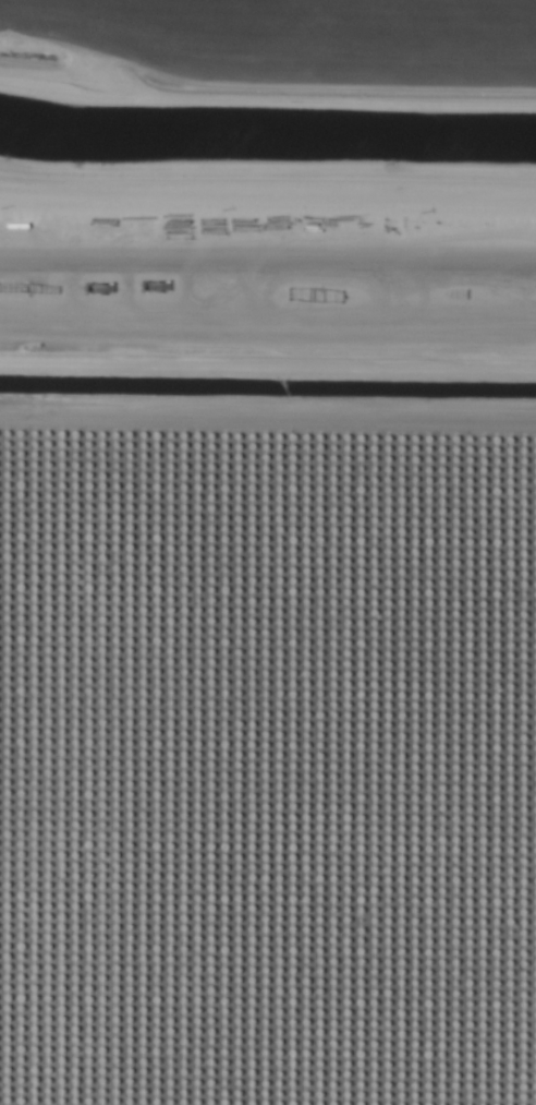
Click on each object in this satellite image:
crop: (268, 552)

